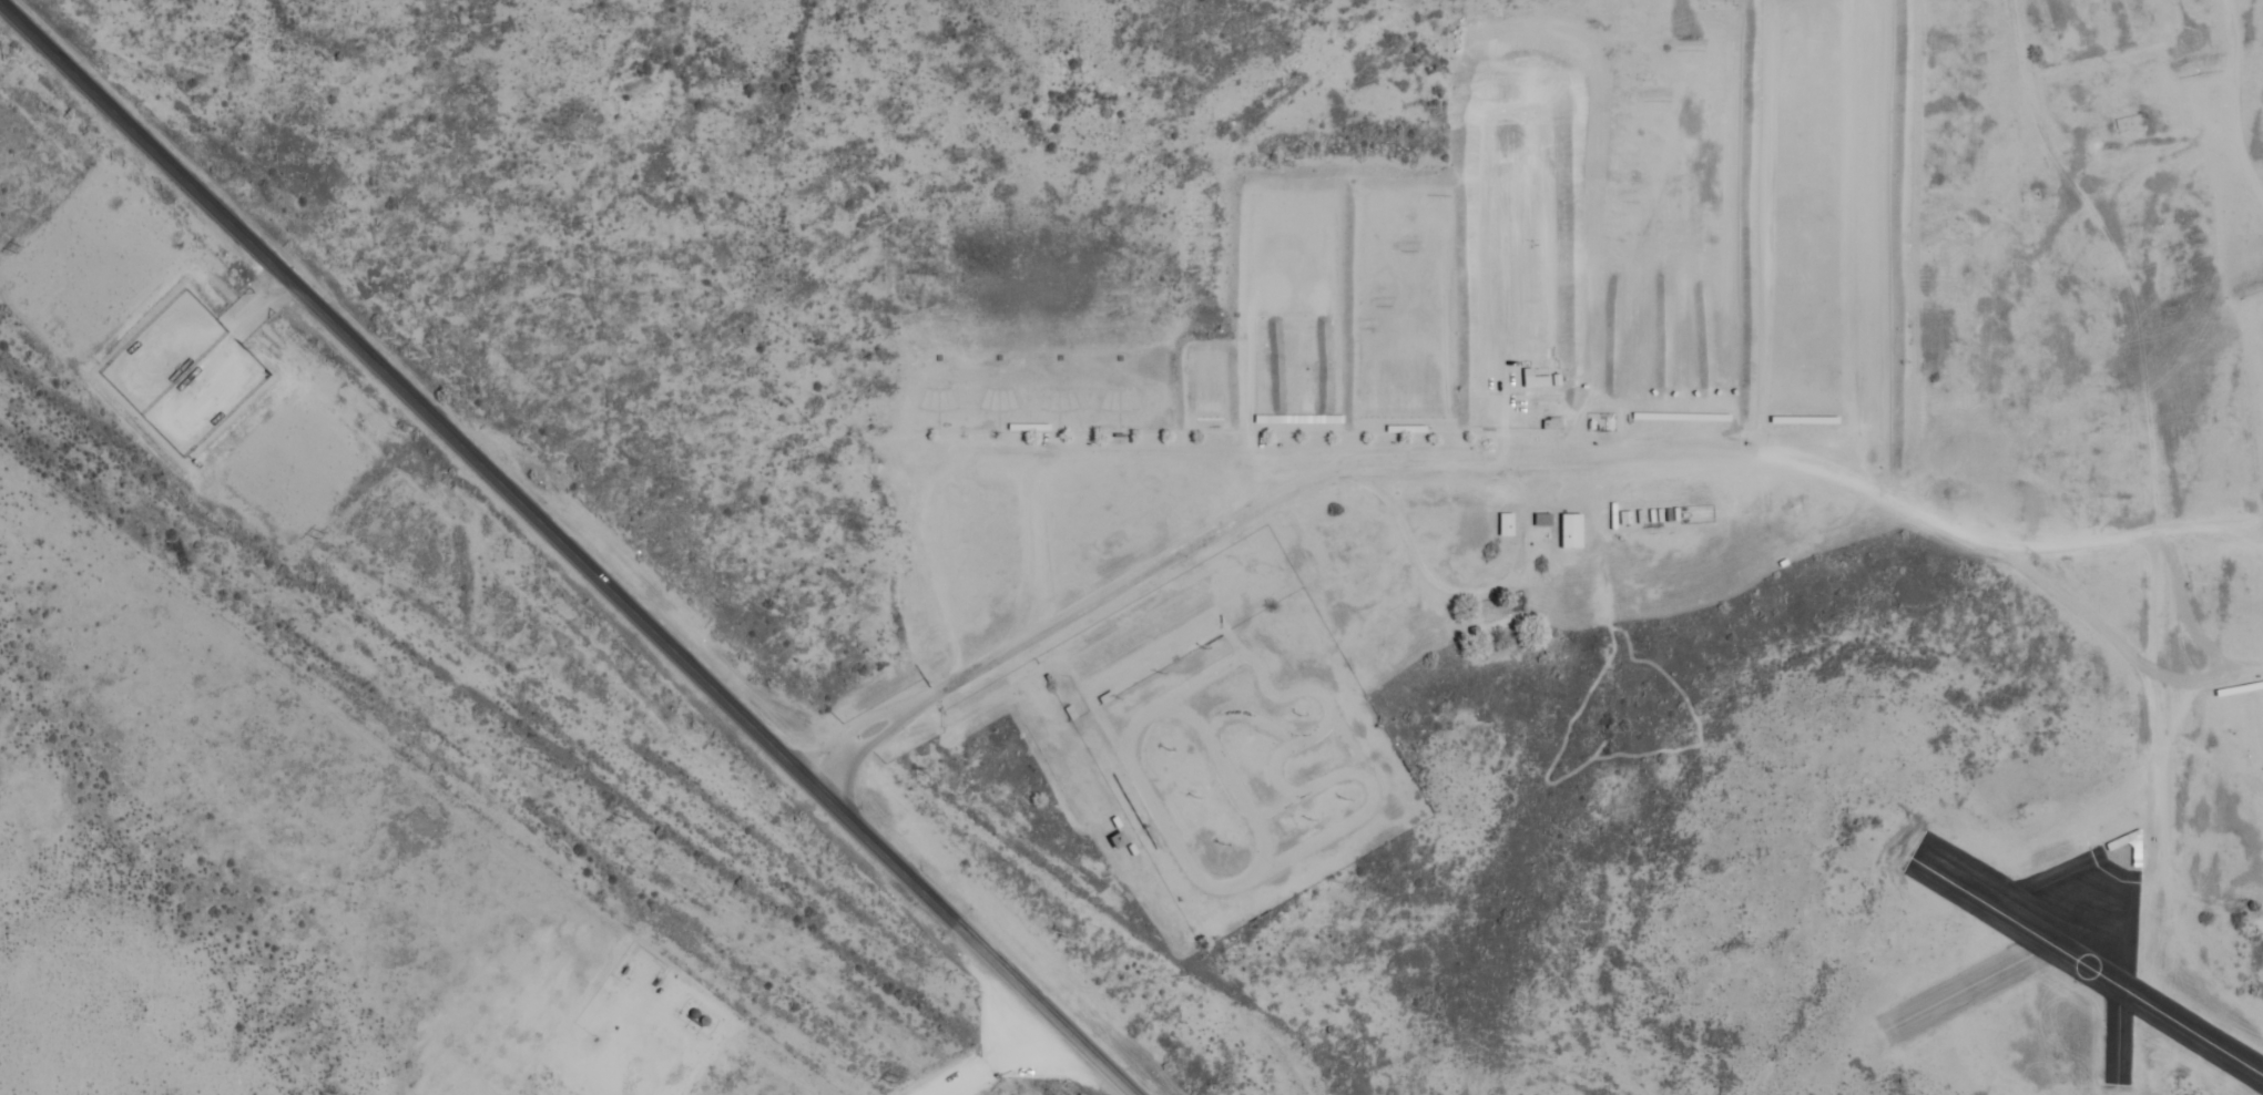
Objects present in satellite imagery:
power tower: (10, 250)
road: (399, 388)
building: (1288, 417)
road: (1486, 452)
power tower: (316, 532)
power tower: (621, 817)
building: (2128, 842)
road: (966, 933)
power tower: (898, 1078)

